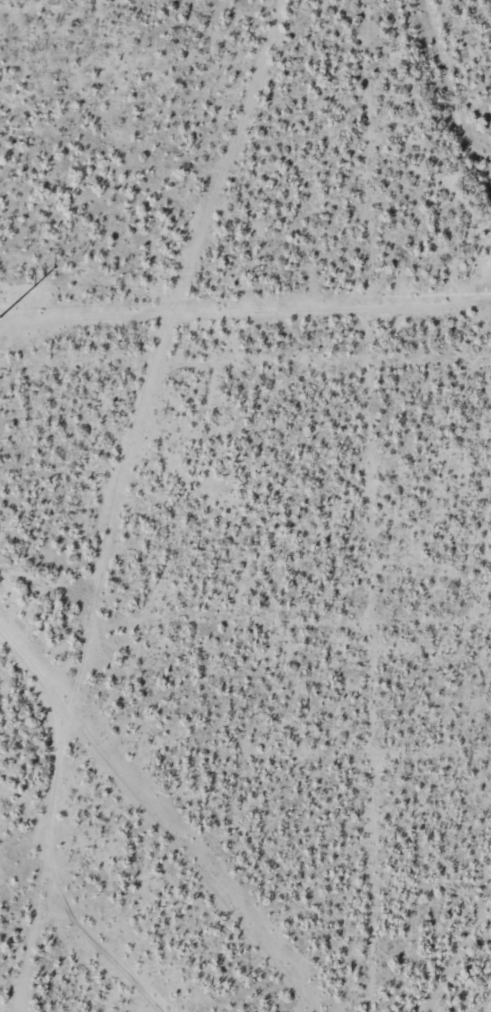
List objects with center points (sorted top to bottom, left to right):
power tower: (0, 316)
road: (109, 481)
road: (32, 650)

